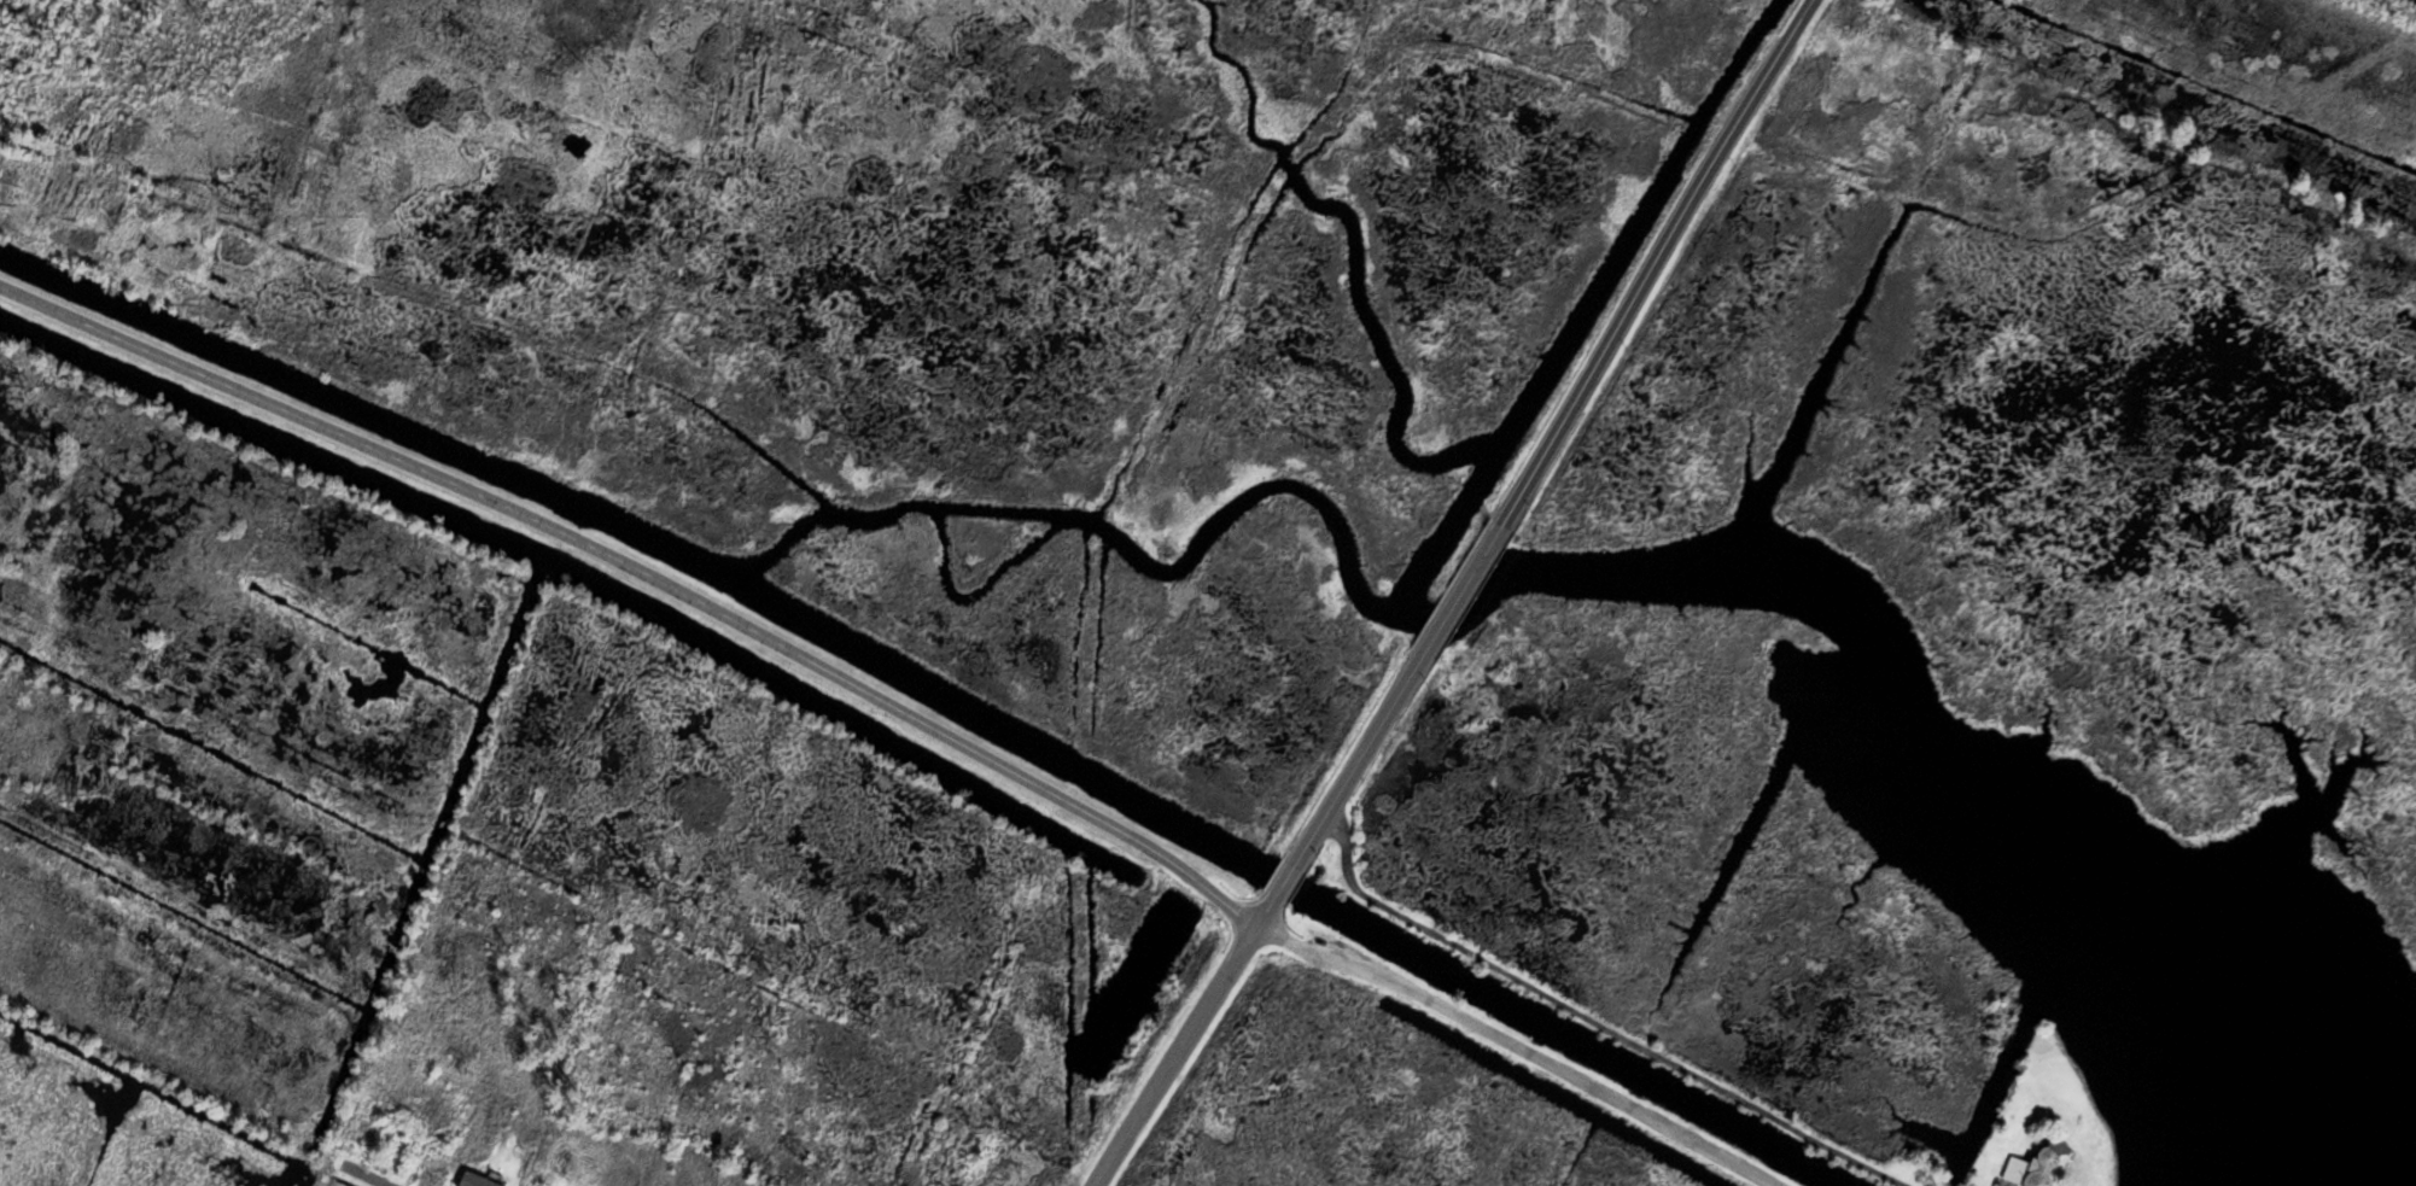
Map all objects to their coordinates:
road: (2391, 10)
road: (1656, 259)
road: (644, 577)
road: (1465, 585)
road: (1361, 755)
road: (1285, 881)
road: (1594, 1021)
road: (1183, 1041)
road: (1524, 1047)
building: (2039, 1164)
road: (374, 1175)
building: (477, 1179)

